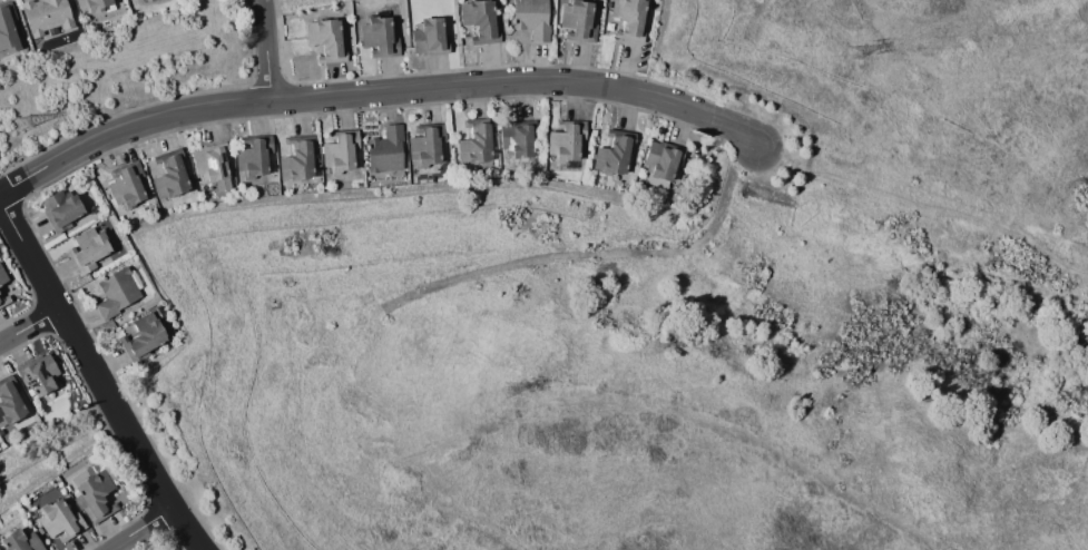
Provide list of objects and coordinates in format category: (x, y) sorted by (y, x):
building: (91, 4)
building: (43, 14)
building: (529, 18)
building: (576, 19)
building: (627, 19)
building: (478, 21)
building: (7, 27)
building: (376, 37)
building: (427, 37)
building: (324, 40)
road: (266, 48)
power tower: (852, 51)
road: (520, 85)
power tower: (22, 121)
road: (147, 124)
building: (516, 138)
building: (473, 141)
building: (565, 141)
building: (383, 149)
building: (339, 151)
building: (252, 156)
building: (296, 158)
building: (660, 159)
building: (210, 164)
building: (126, 184)
road: (18, 188)
road: (0, 198)
road: (925, 205)
building: (59, 209)
building: (87, 249)
building: (2, 277)
building: (115, 292)
building: (1, 299)
road: (26, 321)
building: (39, 374)
road: (91, 379)
power tower: (504, 390)
building: (9, 401)
building: (92, 495)
building: (58, 520)
road: (138, 531)
building: (19, 541)

